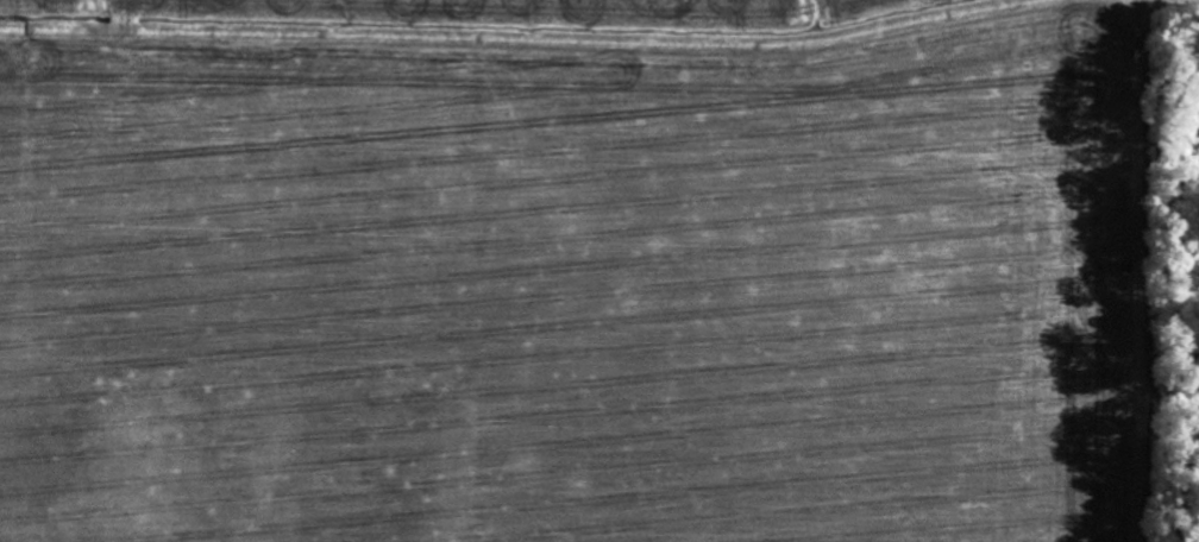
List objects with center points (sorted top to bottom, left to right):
road: (538, 43)
park: (1186, 276)

